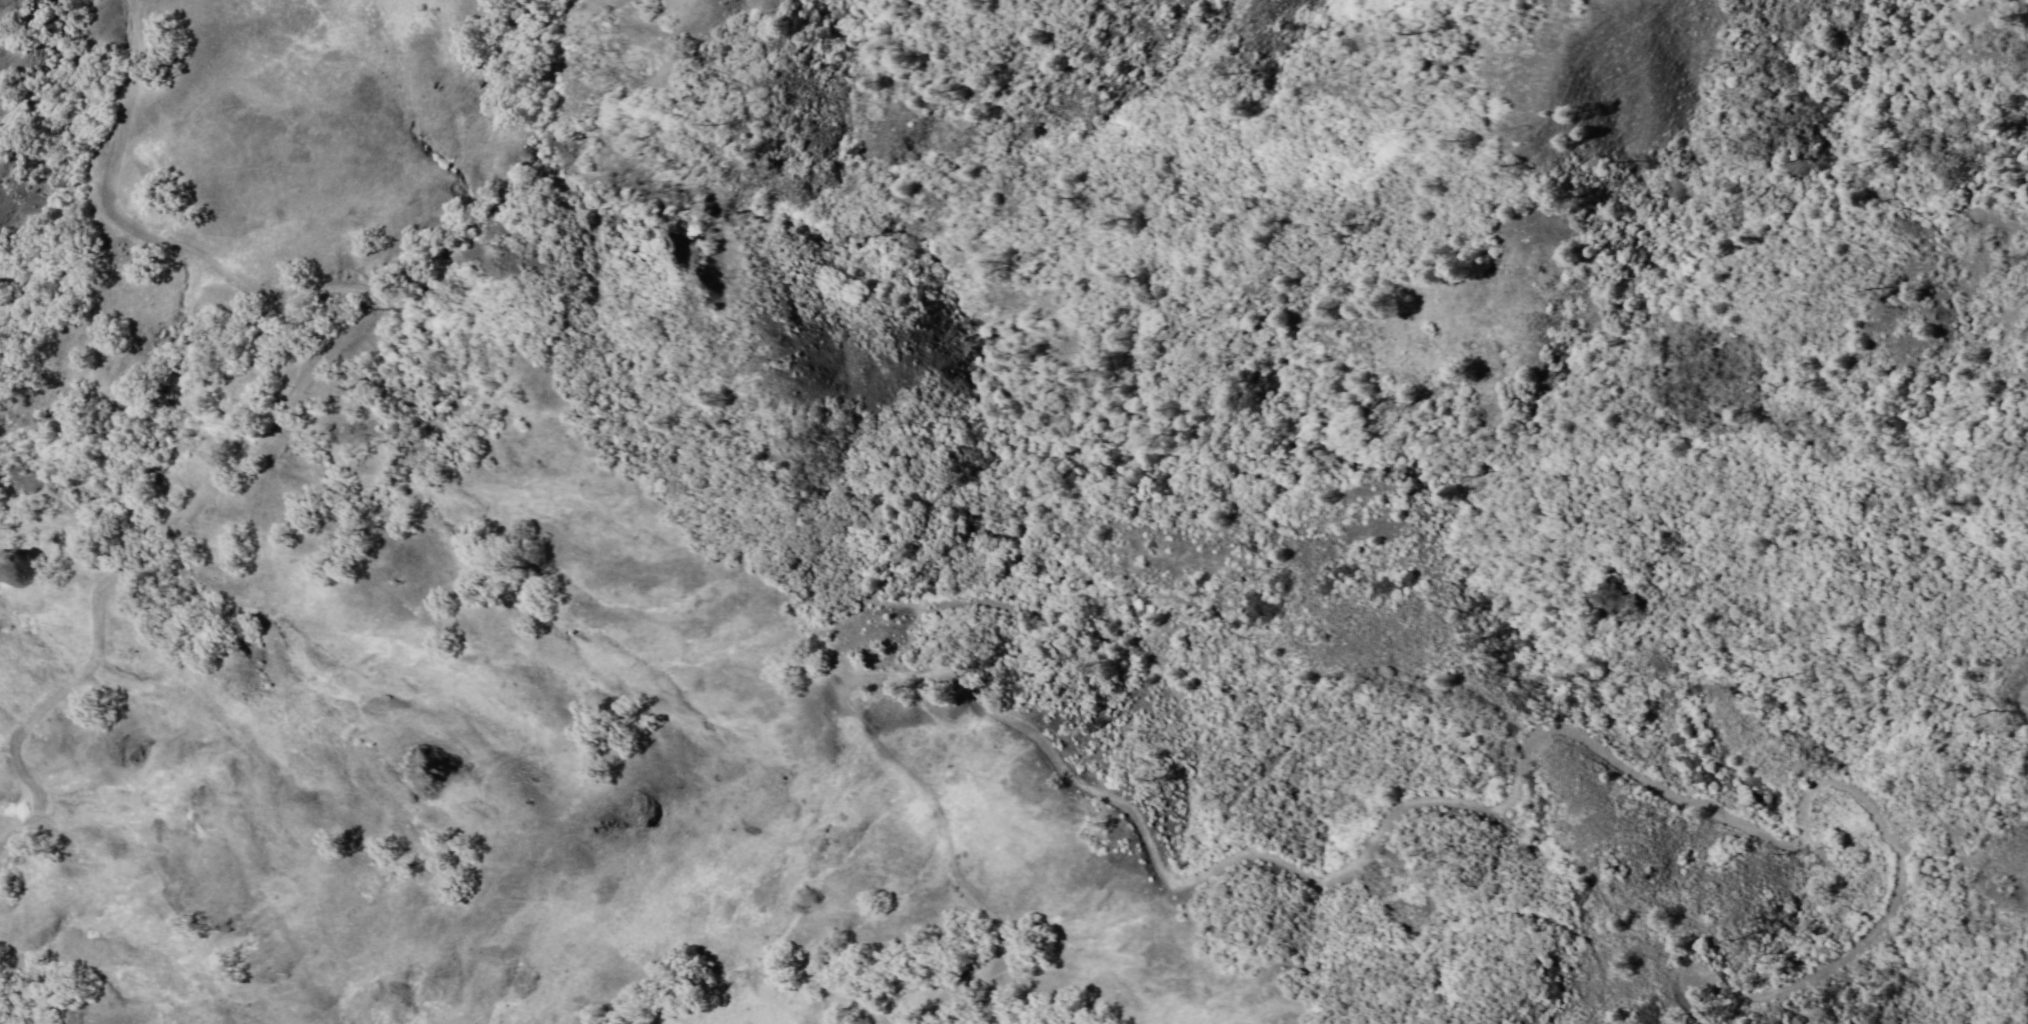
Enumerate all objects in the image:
road: (301, 381)

